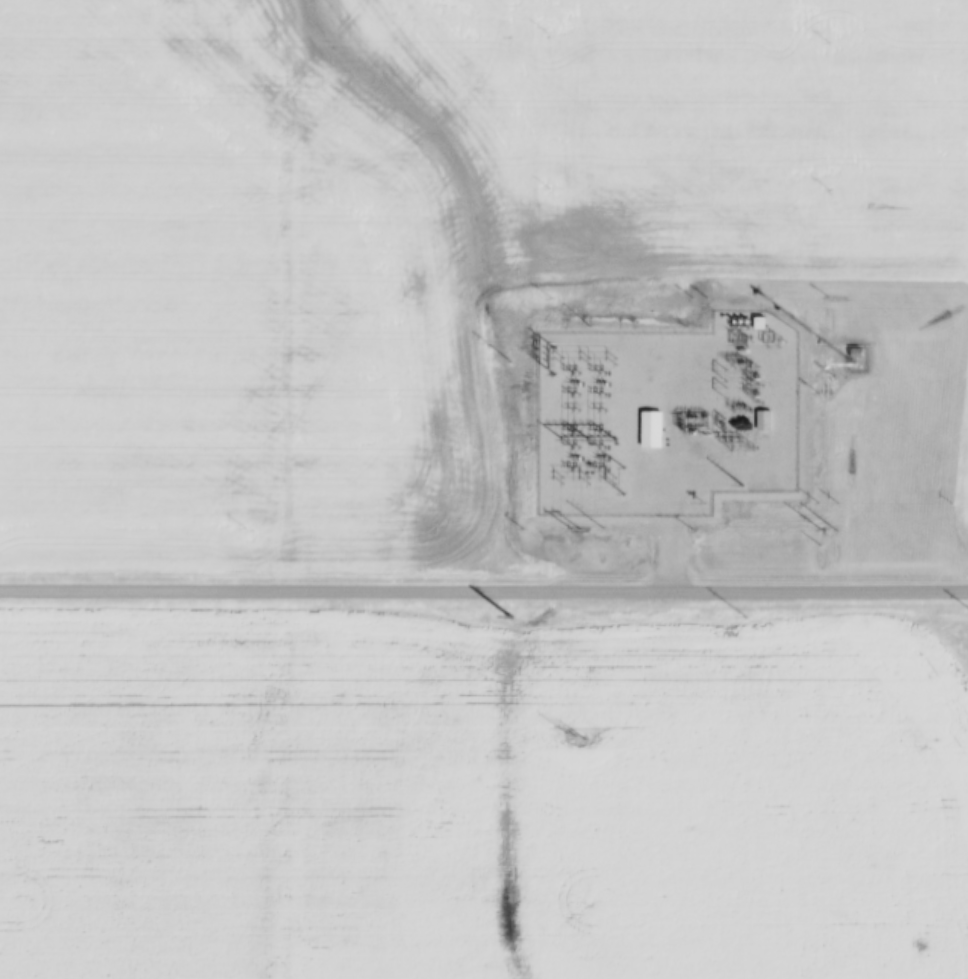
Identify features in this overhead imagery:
building: (759, 323)
building: (856, 353)
power substation: (665, 415)
building: (764, 421)
building: (652, 430)
road: (666, 432)
road: (484, 590)
building: (903, 738)
silo: (903, 738)
building: (917, 738)
silo: (917, 738)
building: (932, 739)
silo: (932, 739)

